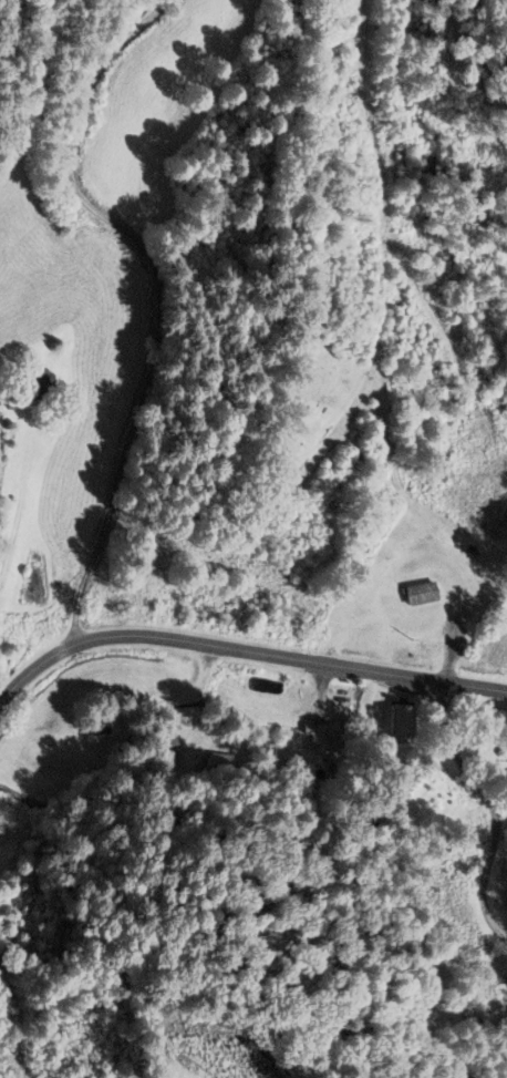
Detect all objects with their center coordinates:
road: (154, 288)
road: (199, 305)
building: (35, 390)
building: (421, 594)
road: (289, 660)
road: (35, 666)
building: (400, 725)
building: (319, 738)
building: (221, 766)
road: (492, 808)

